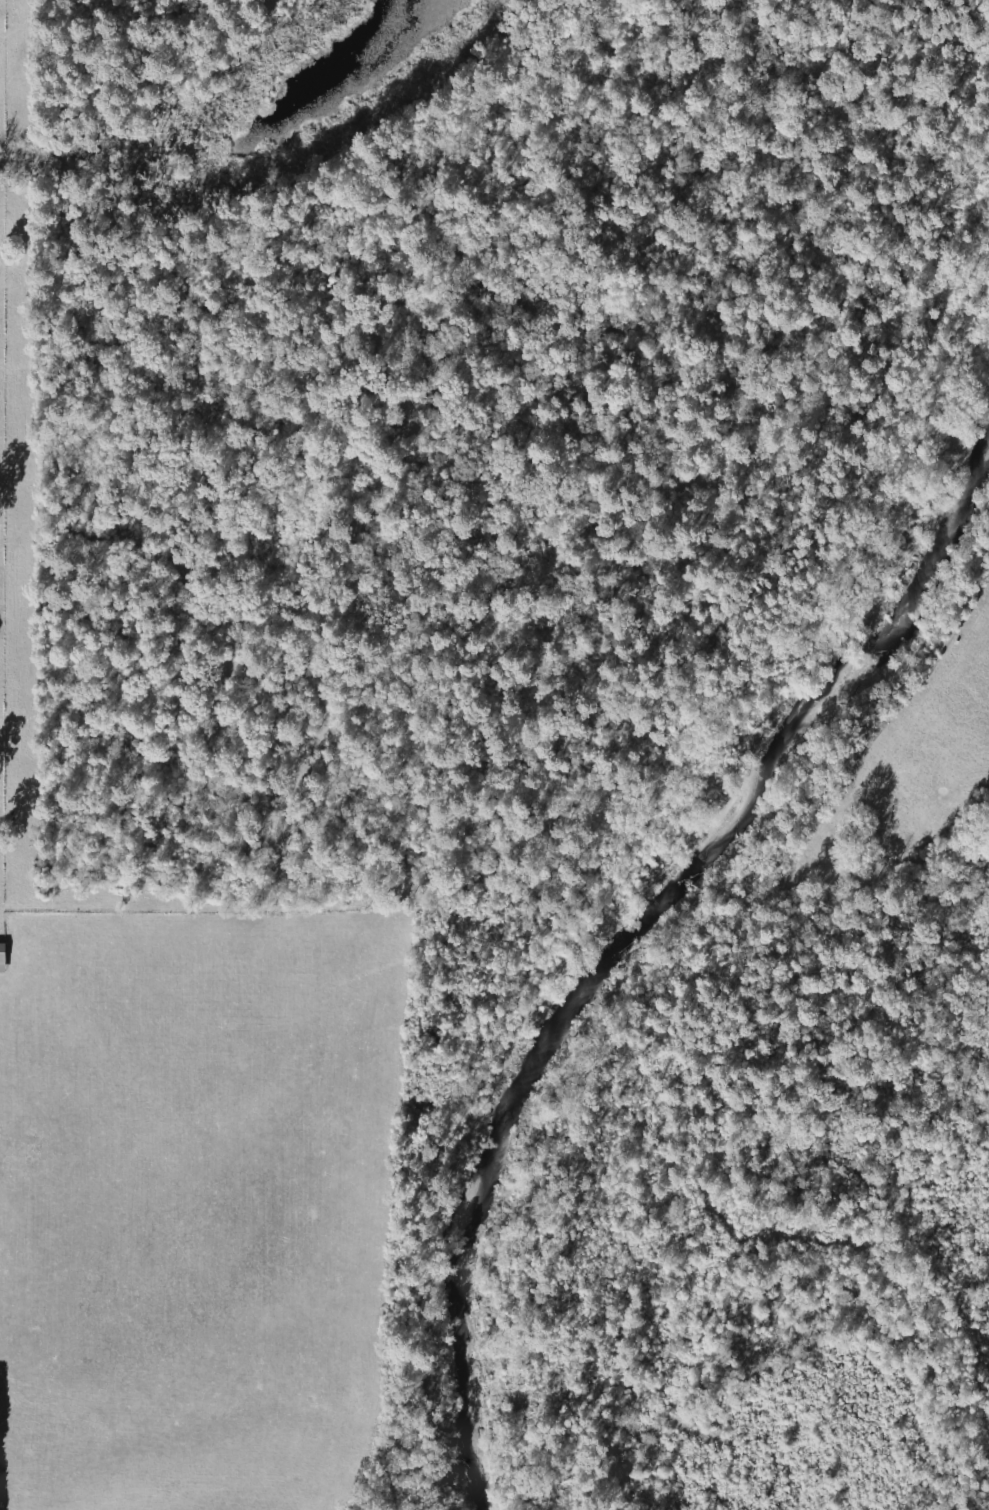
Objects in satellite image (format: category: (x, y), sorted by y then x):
building: (3, 959)

